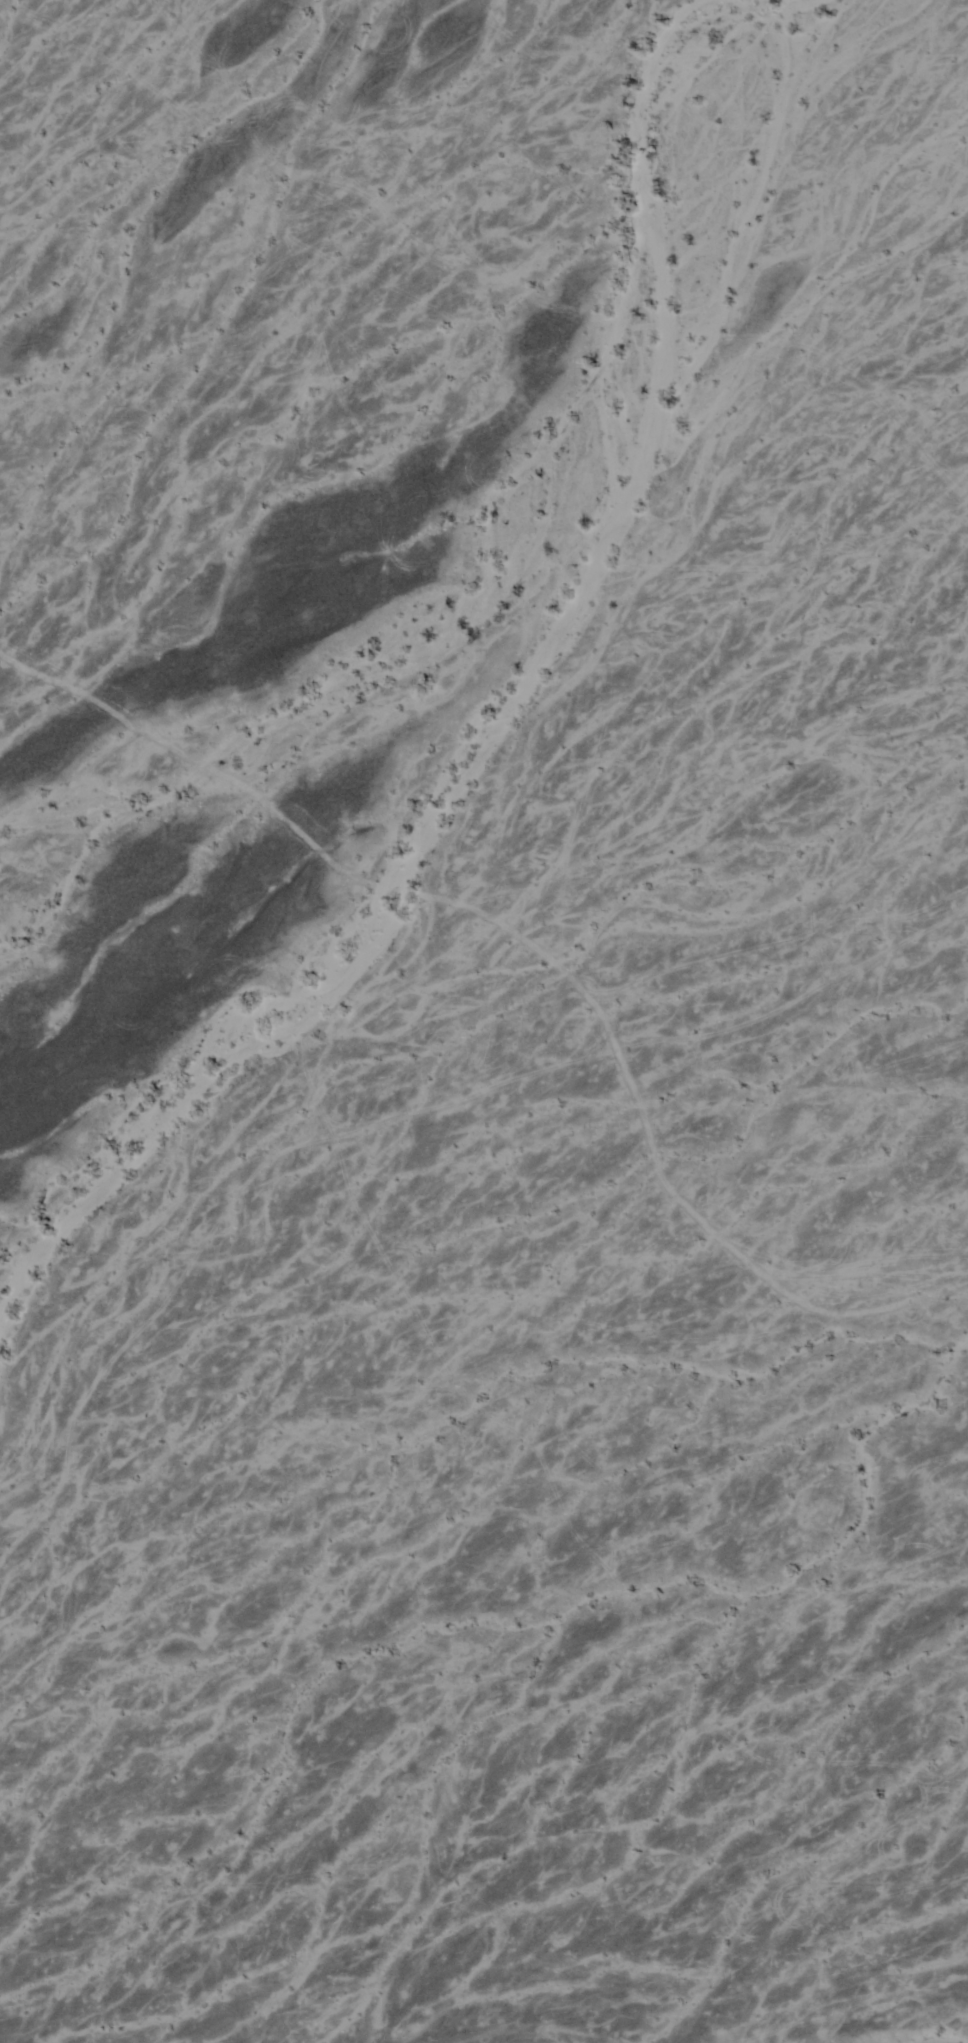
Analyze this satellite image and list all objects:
road: (542, 959)
road: (184, 1226)

